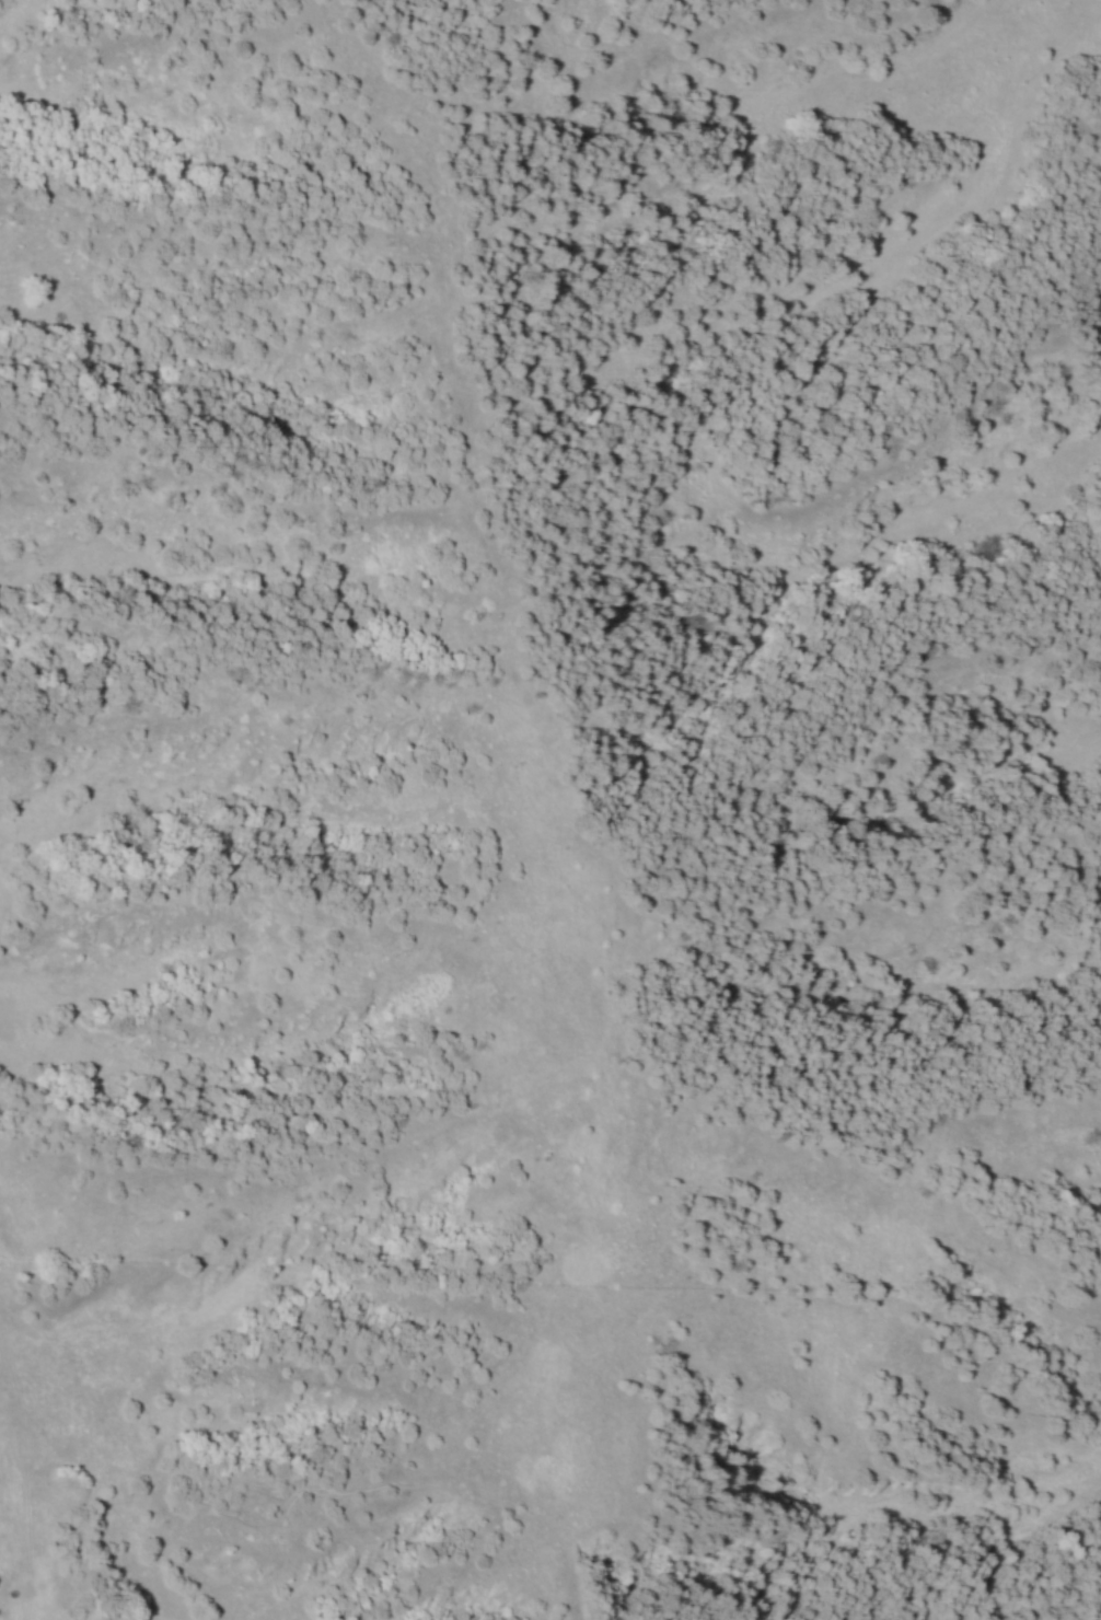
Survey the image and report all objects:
road: (2, 1599)

